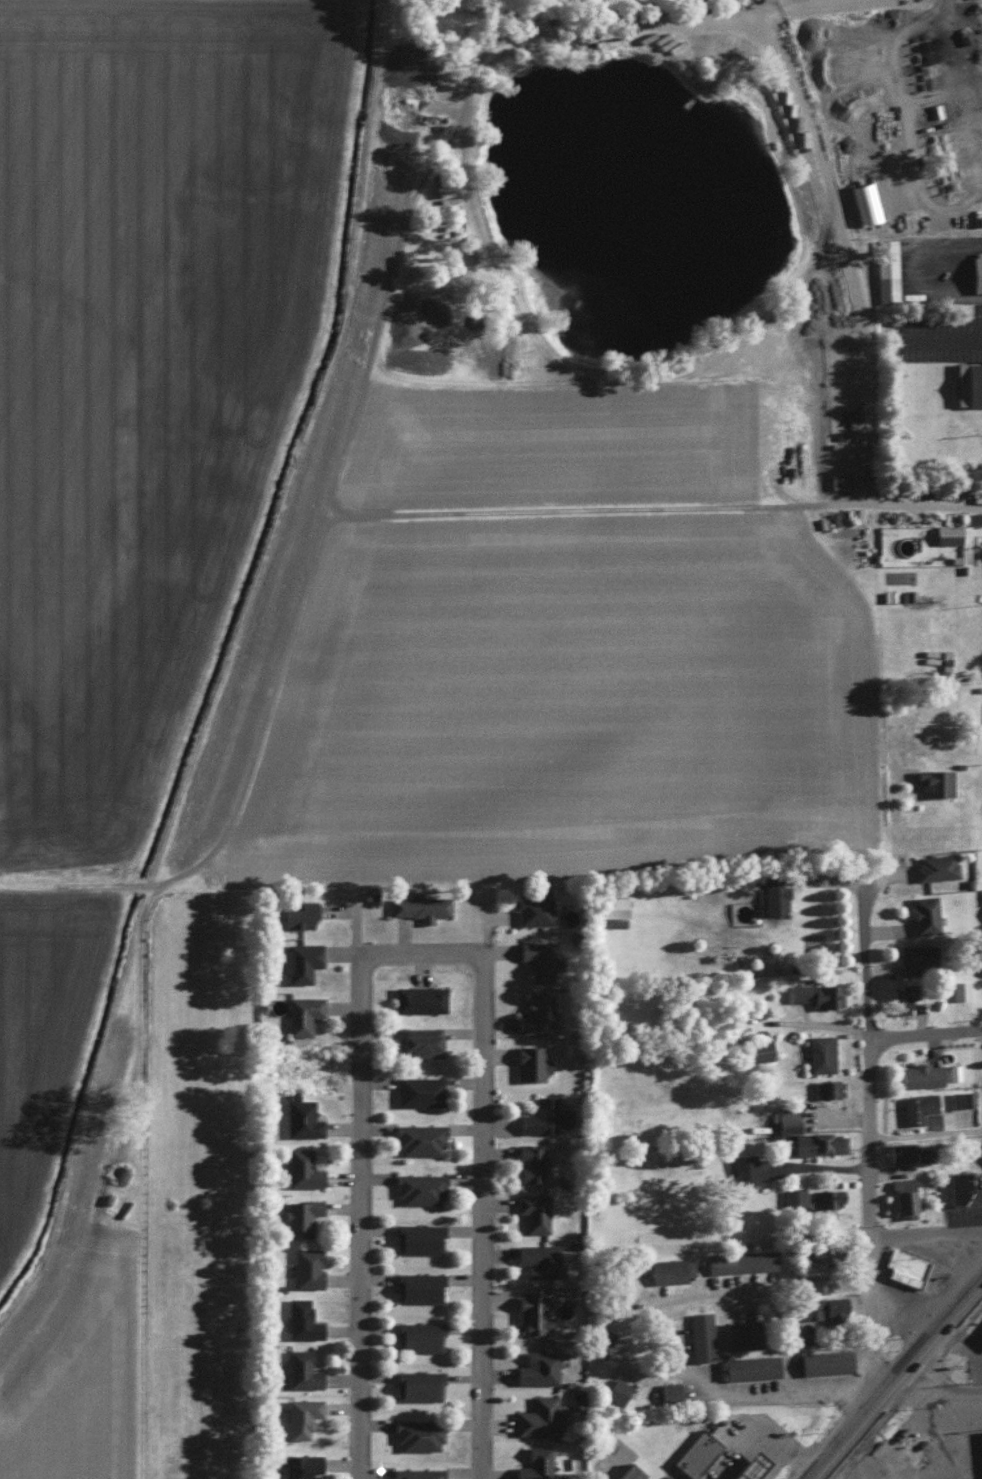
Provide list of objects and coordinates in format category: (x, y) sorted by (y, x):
road: (814, 134)
building: (885, 270)
building: (976, 271)
road: (922, 274)
road: (945, 344)
building: (970, 382)
road: (347, 408)
building: (838, 479)
building: (977, 516)
building: (945, 533)
building: (933, 781)
building: (934, 865)
building: (772, 898)
building: (419, 905)
building: (611, 906)
building: (531, 908)
building: (922, 913)
building: (296, 914)
road: (501, 917)
road: (487, 928)
building: (915, 956)
building: (537, 958)
building: (298, 960)
building: (980, 966)
building: (959, 989)
building: (815, 993)
building: (899, 997)
building: (418, 998)
building: (534, 1011)
building: (301, 1013)
road: (981, 1033)
road: (927, 1034)
building: (418, 1040)
building: (755, 1049)
building: (819, 1052)
building: (529, 1061)
building: (919, 1074)
building: (827, 1087)
building: (418, 1089)
road: (876, 1098)
building: (960, 1098)
building: (915, 1106)
building: (543, 1115)
building: (300, 1116)
building: (782, 1119)
building: (418, 1138)
road: (930, 1139)
building: (816, 1142)
building: (899, 1150)
road: (354, 1151)
building: (528, 1162)
building: (301, 1168)
building: (742, 1168)
building: (956, 1186)
building: (417, 1188)
building: (792, 1196)
building: (824, 1197)
building: (902, 1197)
building: (533, 1211)
building: (299, 1215)
road: (479, 1216)
building: (417, 1237)
road: (931, 1238)
building: (819, 1252)
building: (537, 1259)
building: (745, 1261)
building: (305, 1267)
building: (905, 1267)
building: (662, 1269)
building: (416, 1286)
road: (779, 1294)
building: (817, 1308)
building: (531, 1313)
building: (300, 1319)
building: (739, 1334)
building: (416, 1335)
building: (979, 1335)
building: (700, 1336)
building: (603, 1340)
building: (821, 1360)
building: (747, 1365)
building: (536, 1367)
building: (300, 1369)
road: (897, 1380)
building: (416, 1384)
building: (615, 1389)
building: (668, 1390)
road: (935, 1391)
road: (741, 1399)
building: (300, 1416)
building: (539, 1416)
building: (416, 1433)
building: (693, 1452)
road: (863, 1458)
building: (533, 1463)
building: (300, 1465)
building: (747, 1466)
building: (625, 1472)
building: (416, 1473)

